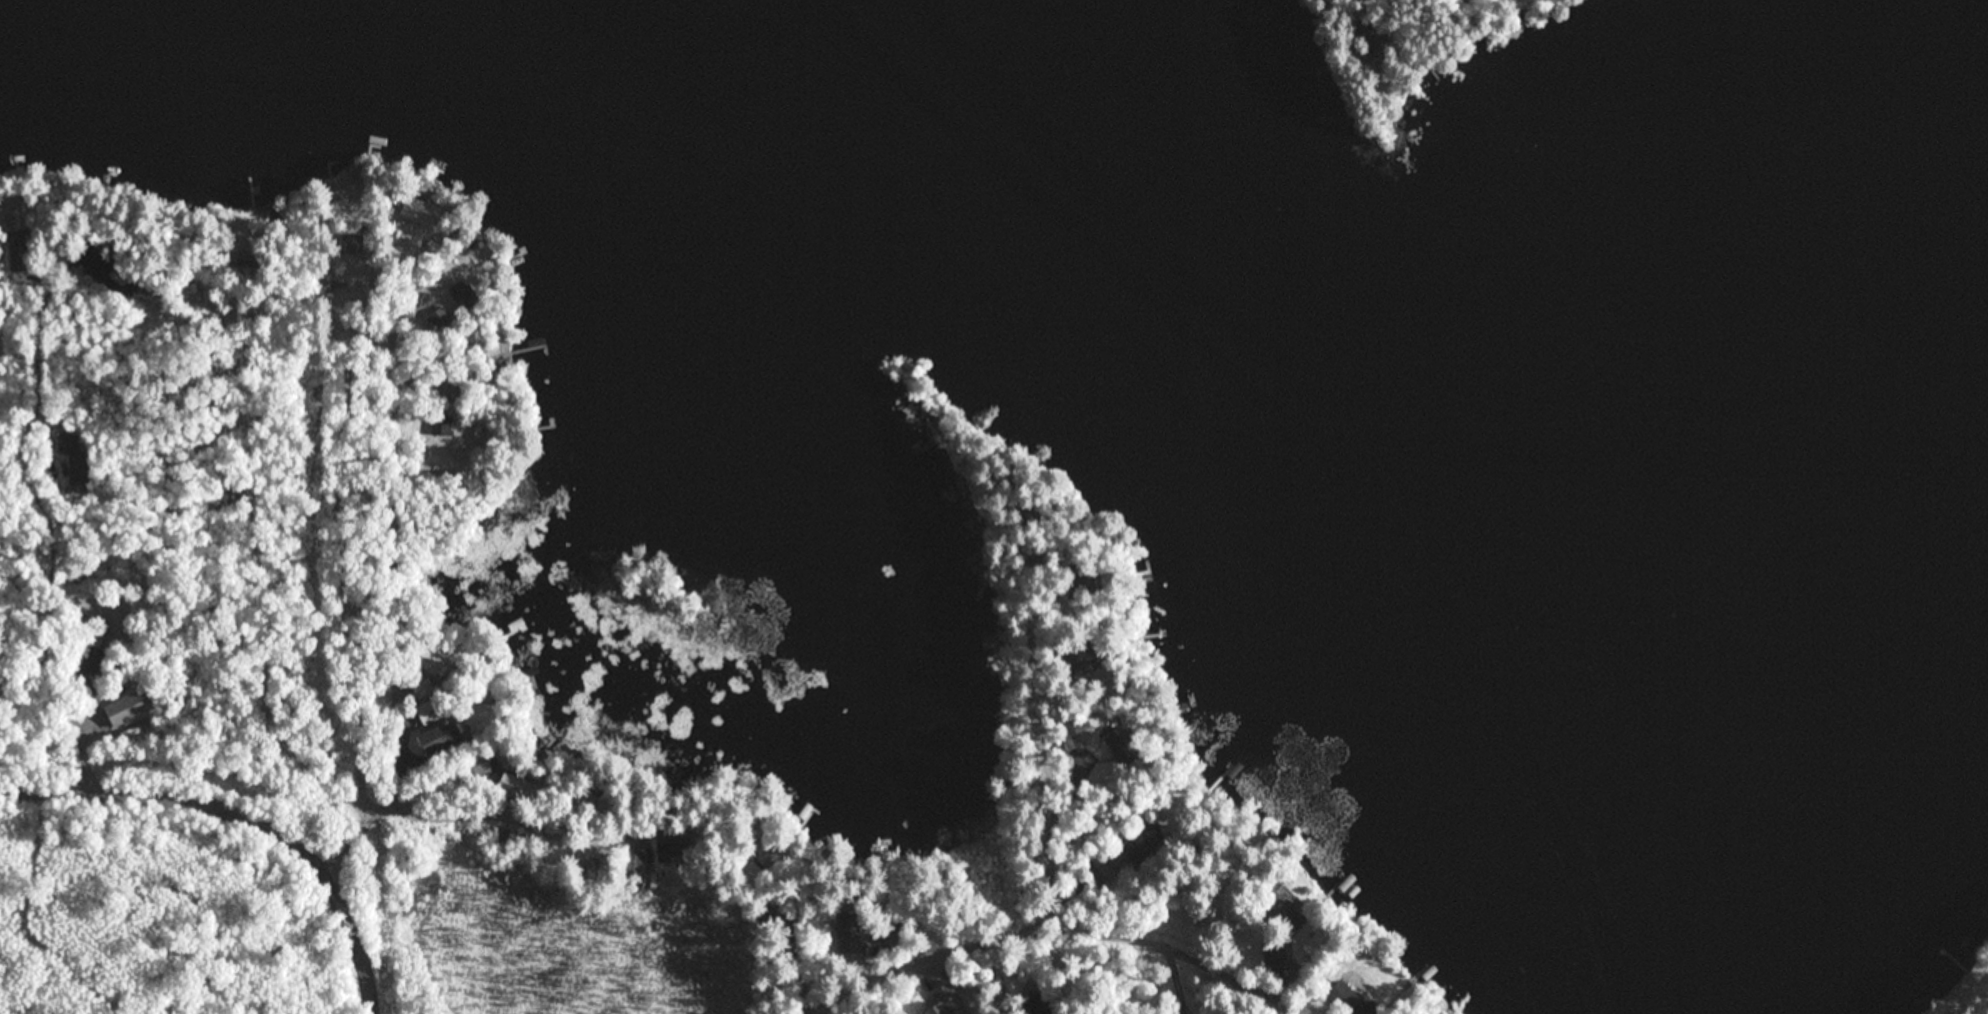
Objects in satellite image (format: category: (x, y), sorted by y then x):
building: (1362, 38)
building: (1375, 41)
building: (419, 211)
building: (403, 212)
building: (277, 213)
building: (356, 244)
building: (18, 248)
building: (242, 261)
building: (324, 278)
building: (189, 294)
building: (444, 295)
building: (465, 298)
building: (439, 320)
building: (254, 339)
building: (475, 342)
building: (443, 392)
building: (443, 426)
building: (478, 429)
building: (77, 463)
river: (1427, 481)
road: (28, 548)
building: (1078, 575)
road: (275, 576)
road: (405, 577)
road: (360, 580)
building: (514, 630)
building: (1091, 652)
building: (94, 662)
building: (430, 662)
building: (1071, 662)
building: (526, 675)
building: (422, 688)
building: (95, 694)
building: (129, 708)
building: (430, 712)
building: (1082, 726)
building: (1072, 737)
building: (442, 739)
building: (1126, 750)
road: (1073, 751)
building: (482, 763)
building: (519, 786)
building: (594, 797)
road: (248, 810)
building: (805, 810)
road: (559, 824)
road: (349, 830)
building: (505, 834)
building: (670, 845)
building: (1133, 851)
building: (630, 859)
building: (742, 870)
building: (1281, 914)
building: (890, 928)
road: (1050, 933)
building: (851, 939)
building: (1274, 955)
building: (1354, 999)
building: (948, 1001)

